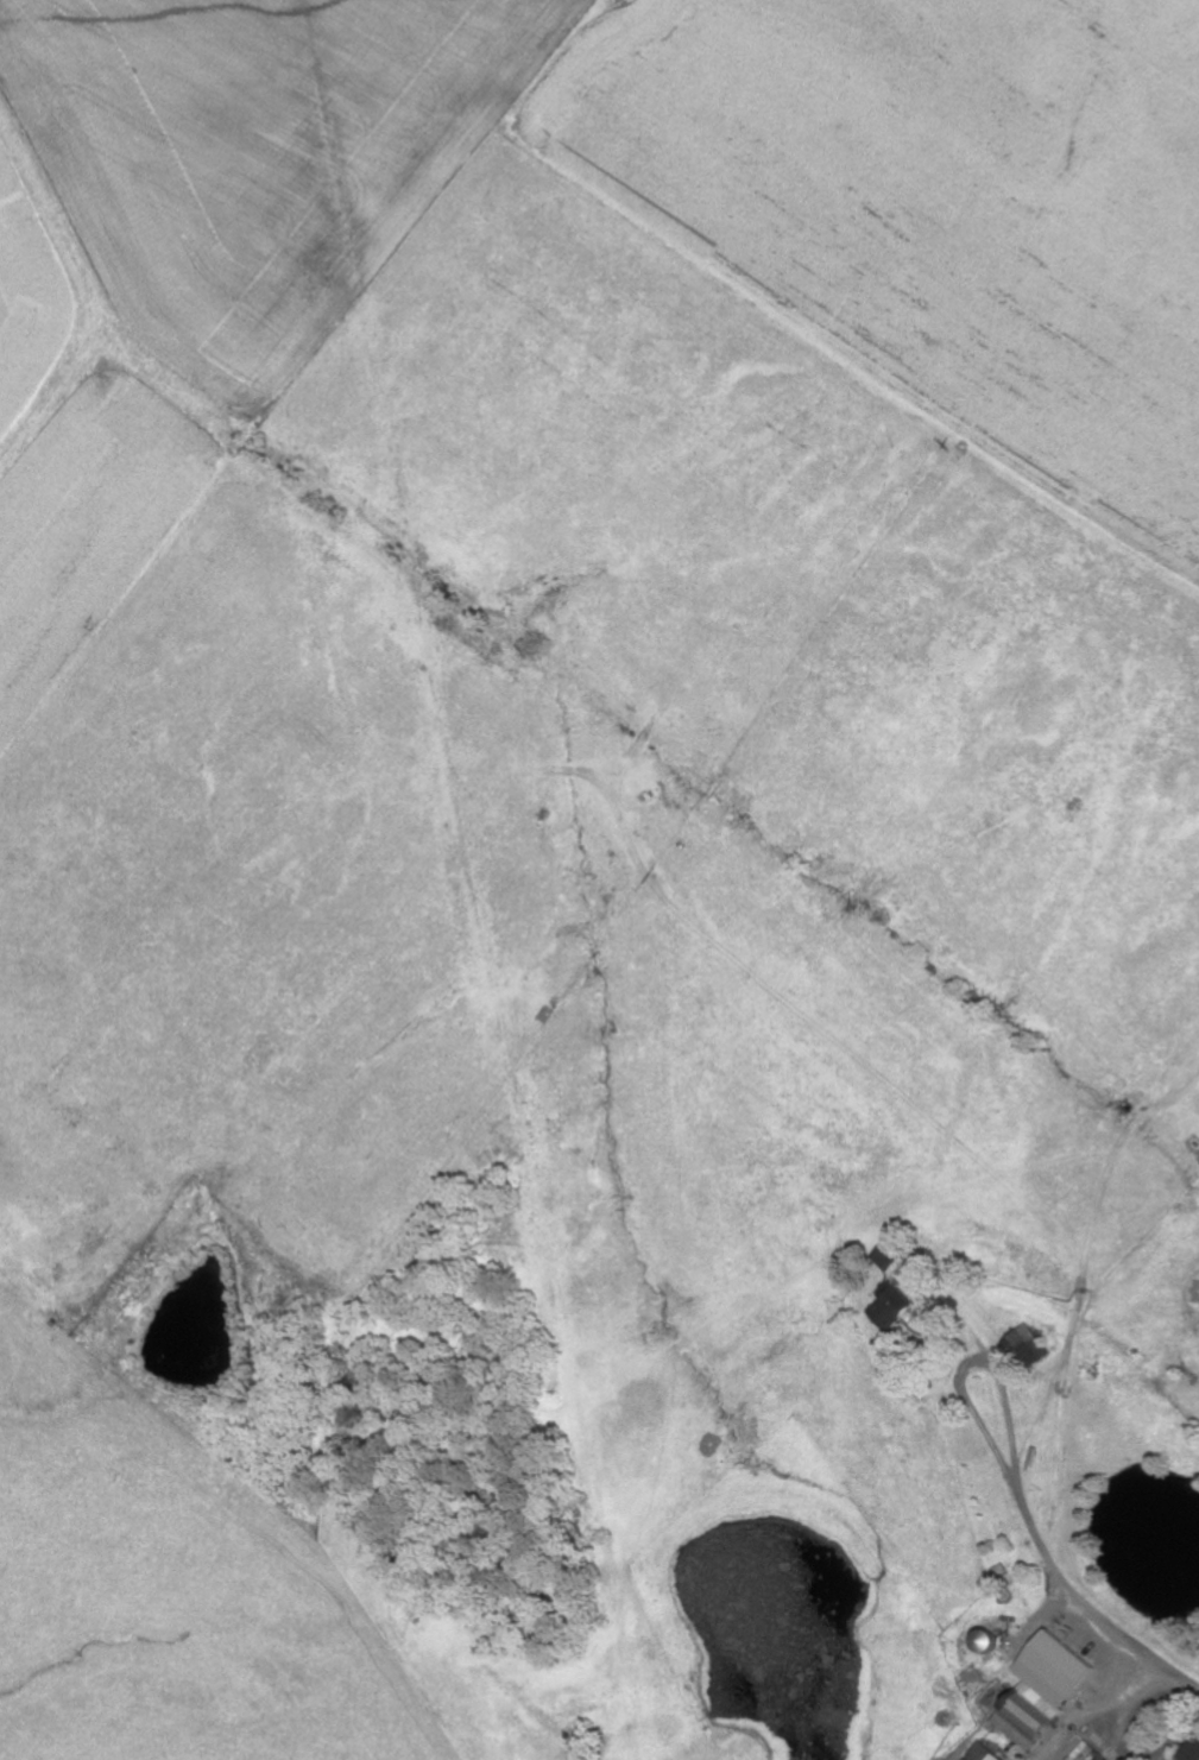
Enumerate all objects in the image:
building: (896, 1257)
building: (900, 1307)
building: (1033, 1345)
road: (977, 1361)
road: (1087, 1602)
building: (1050, 1691)
building: (991, 1753)
building: (1106, 1758)

